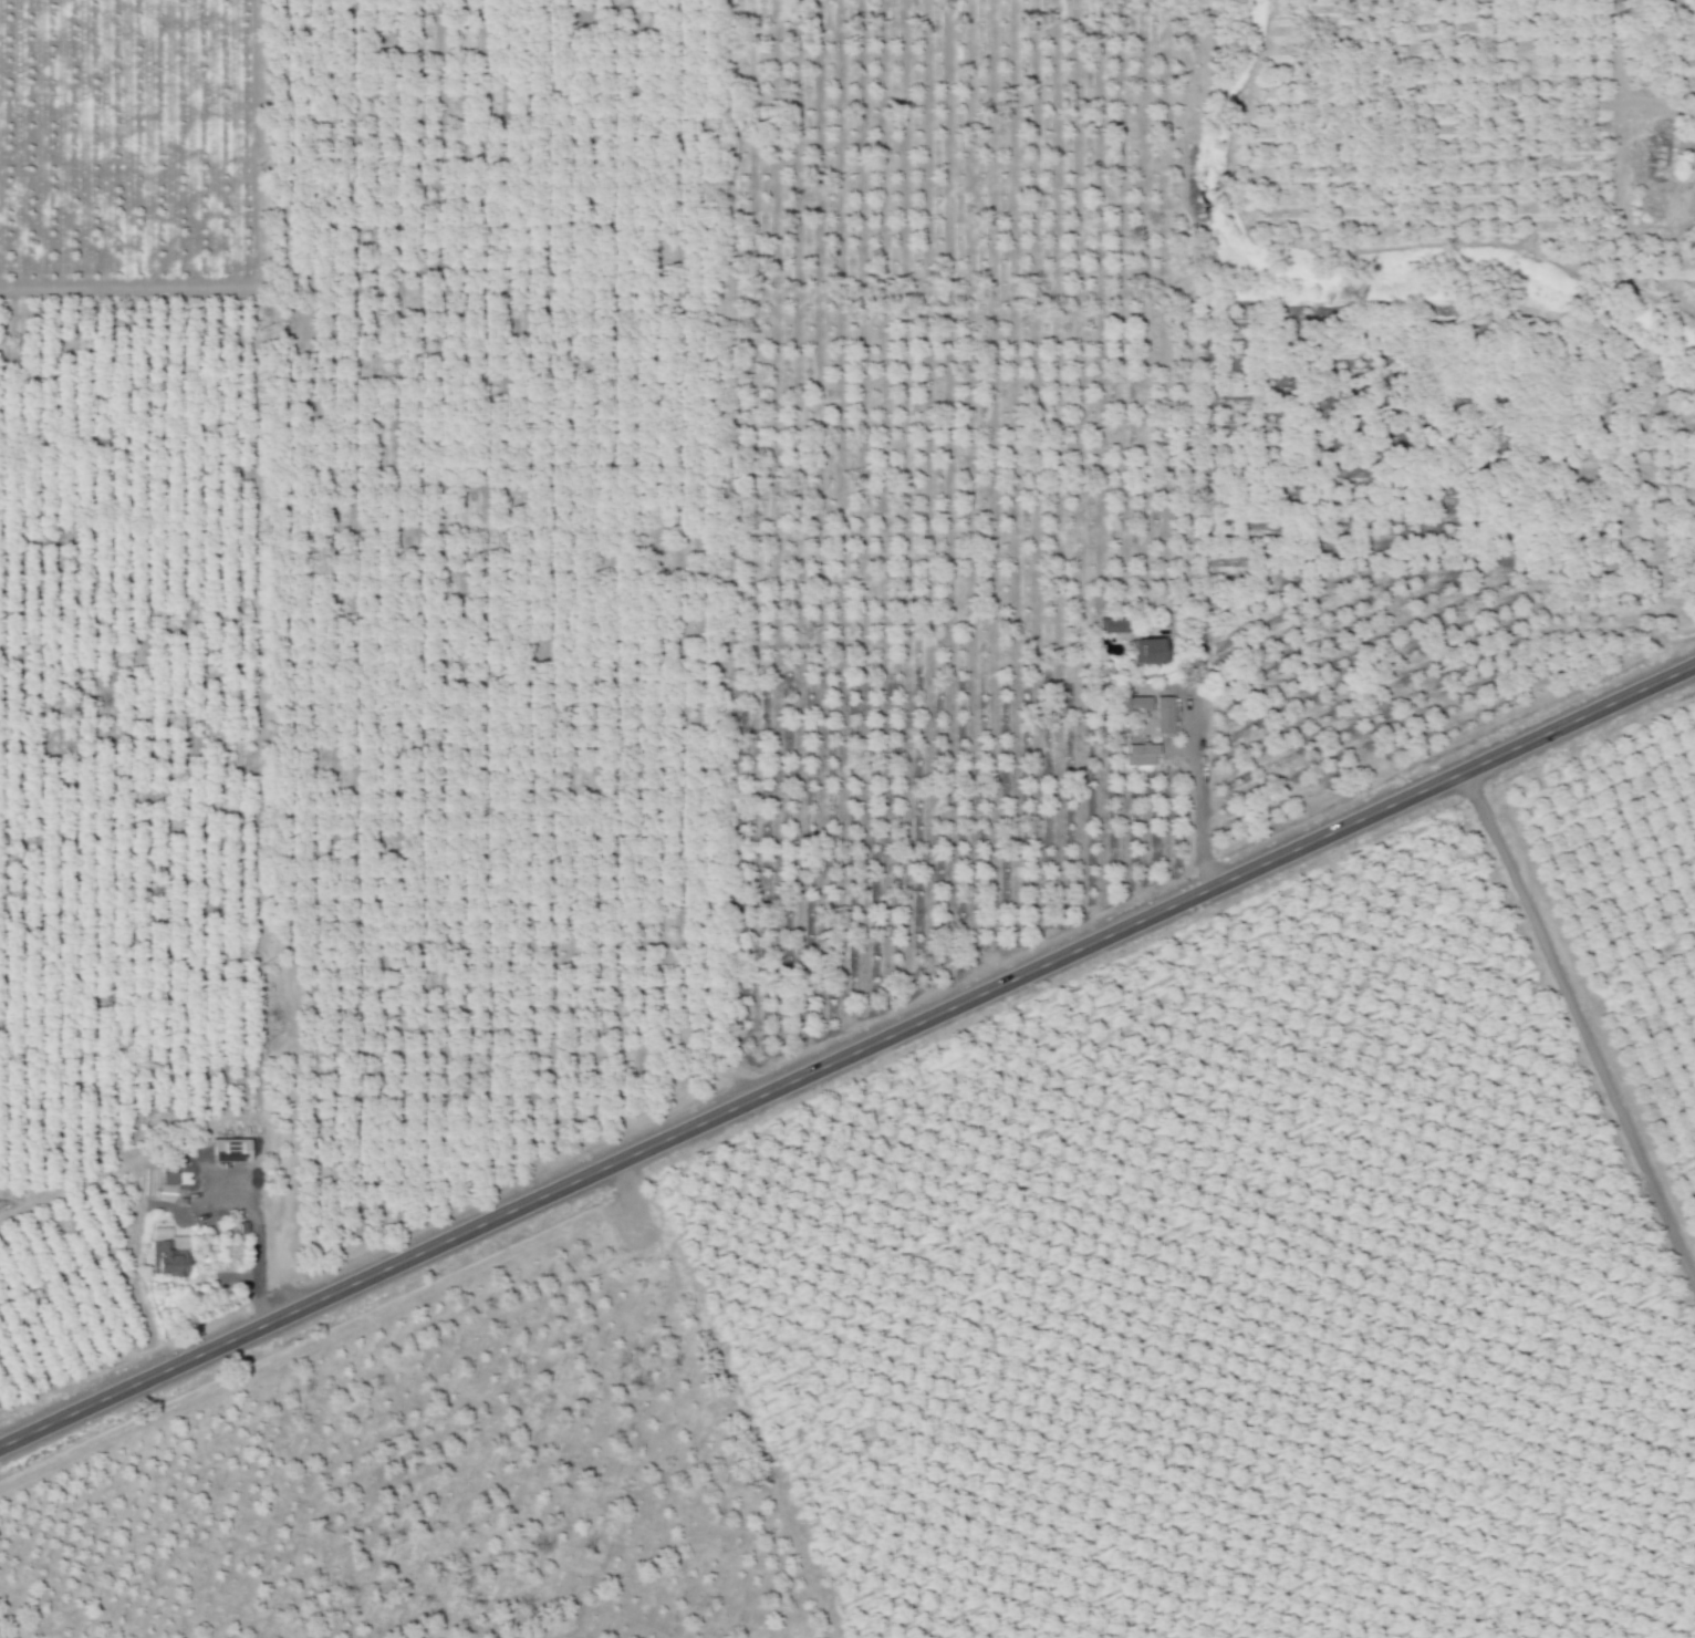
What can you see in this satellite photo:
building: (1667, 156)
building: (1141, 651)
building: (1162, 715)
building: (1136, 754)
road: (1195, 792)
road: (1582, 1026)
road: (846, 1055)
building: (233, 1150)
road: (257, 1237)
building: (649, 1250)
building: (170, 1252)

